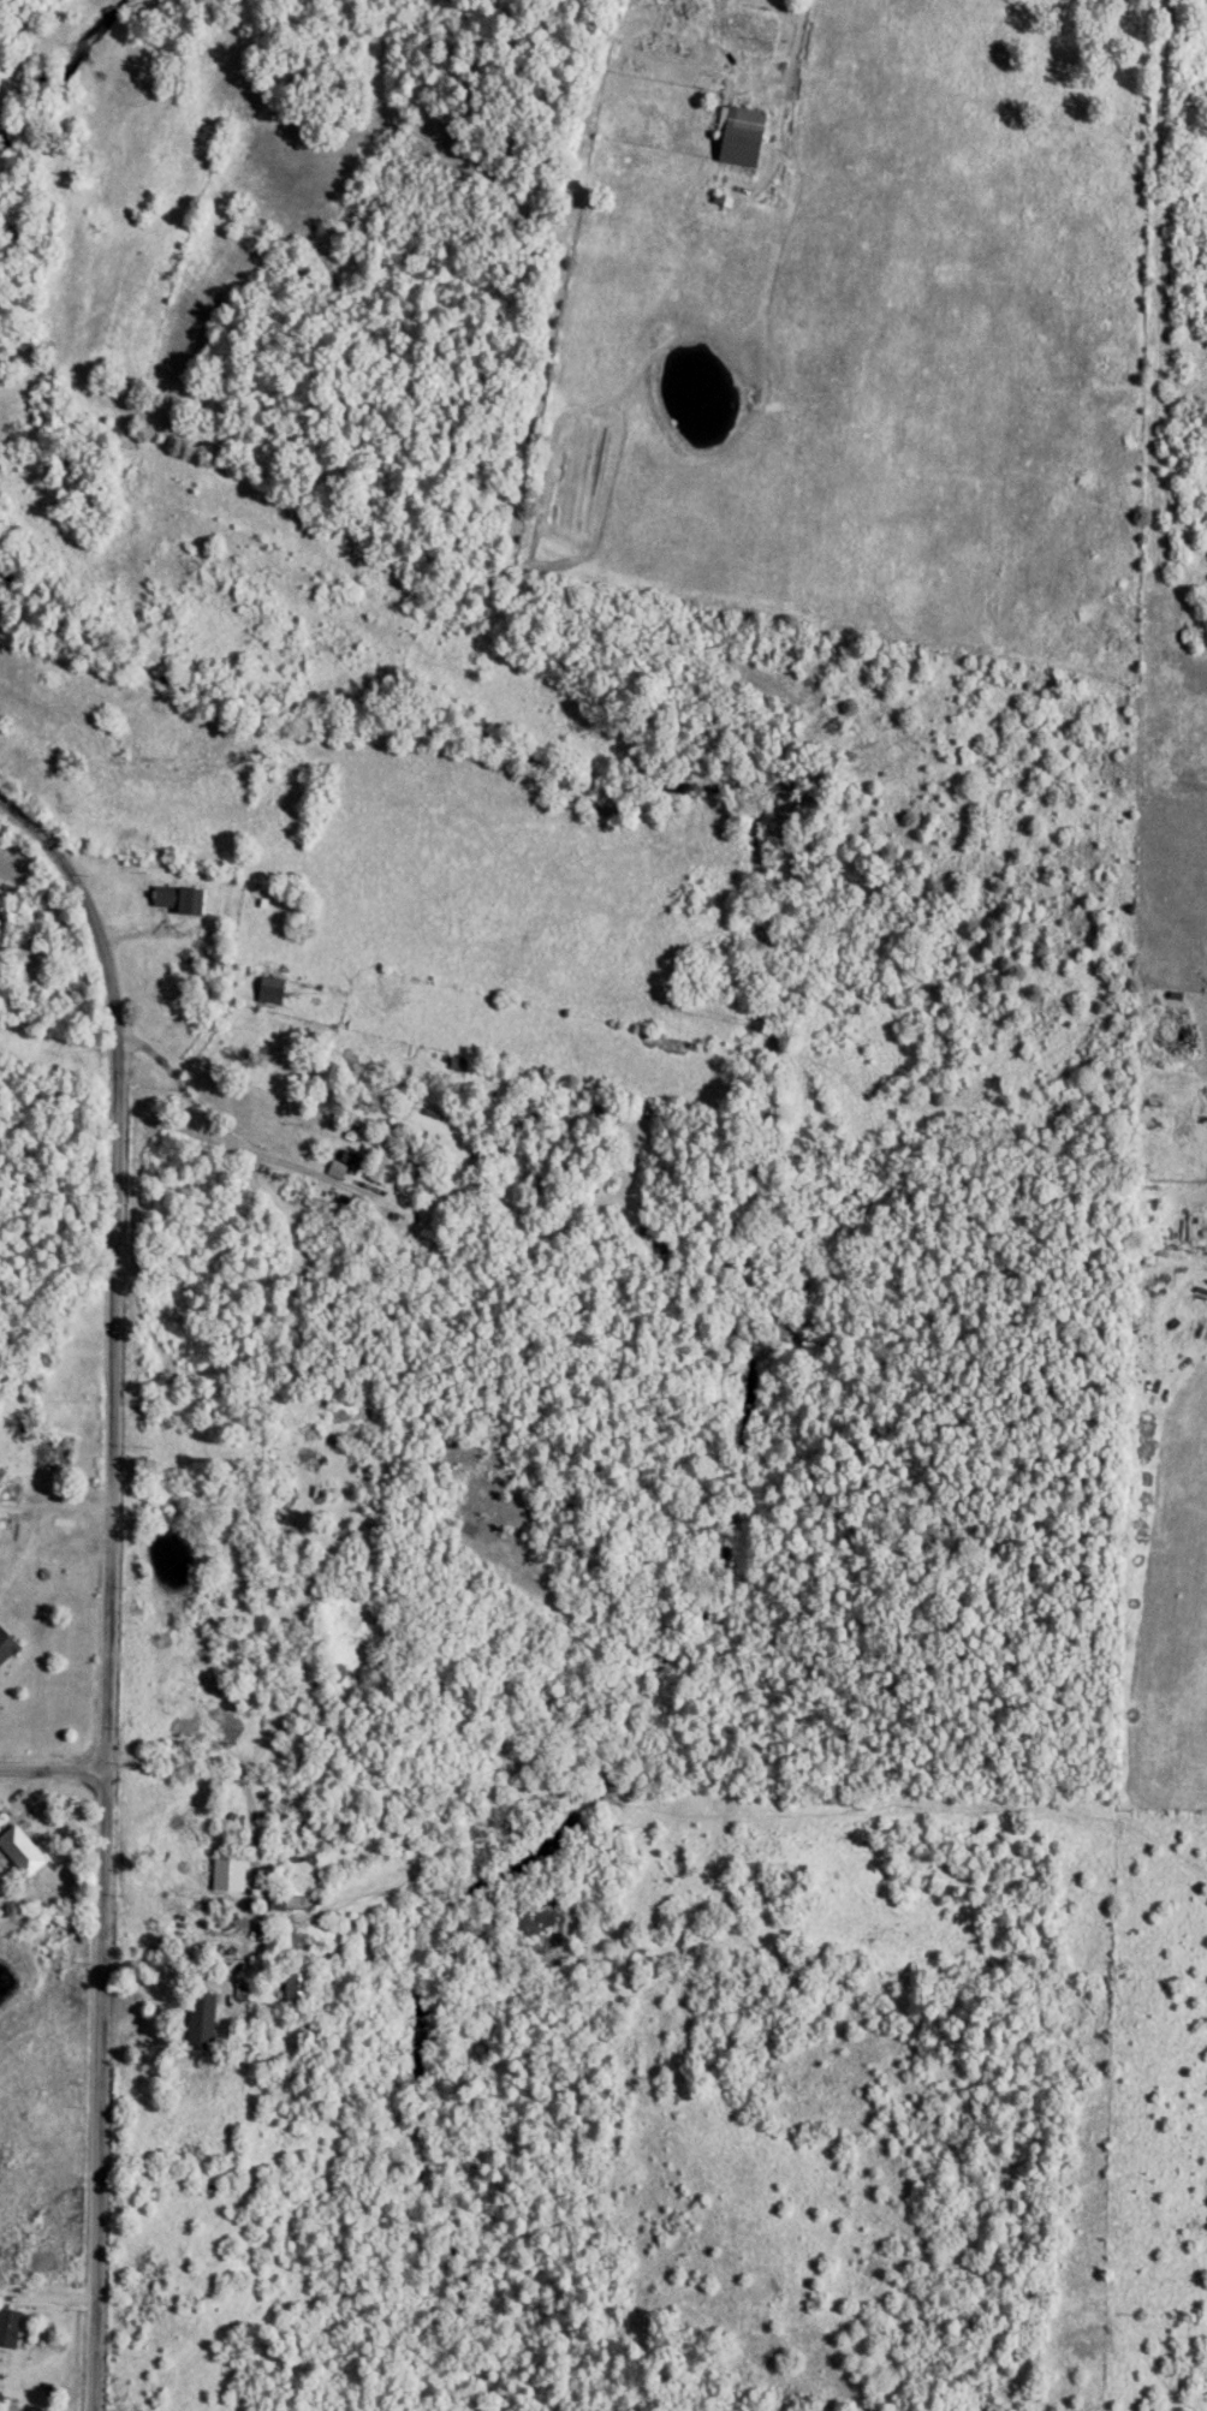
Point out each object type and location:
building: (736, 137)
building: (174, 901)
building: (267, 992)
road: (207, 1103)
building: (48, 1457)
road: (112, 1583)
building: (5, 1648)
road: (53, 1772)
building: (18, 1852)
building: (272, 1903)
building: (196, 2022)
building: (7, 2329)

